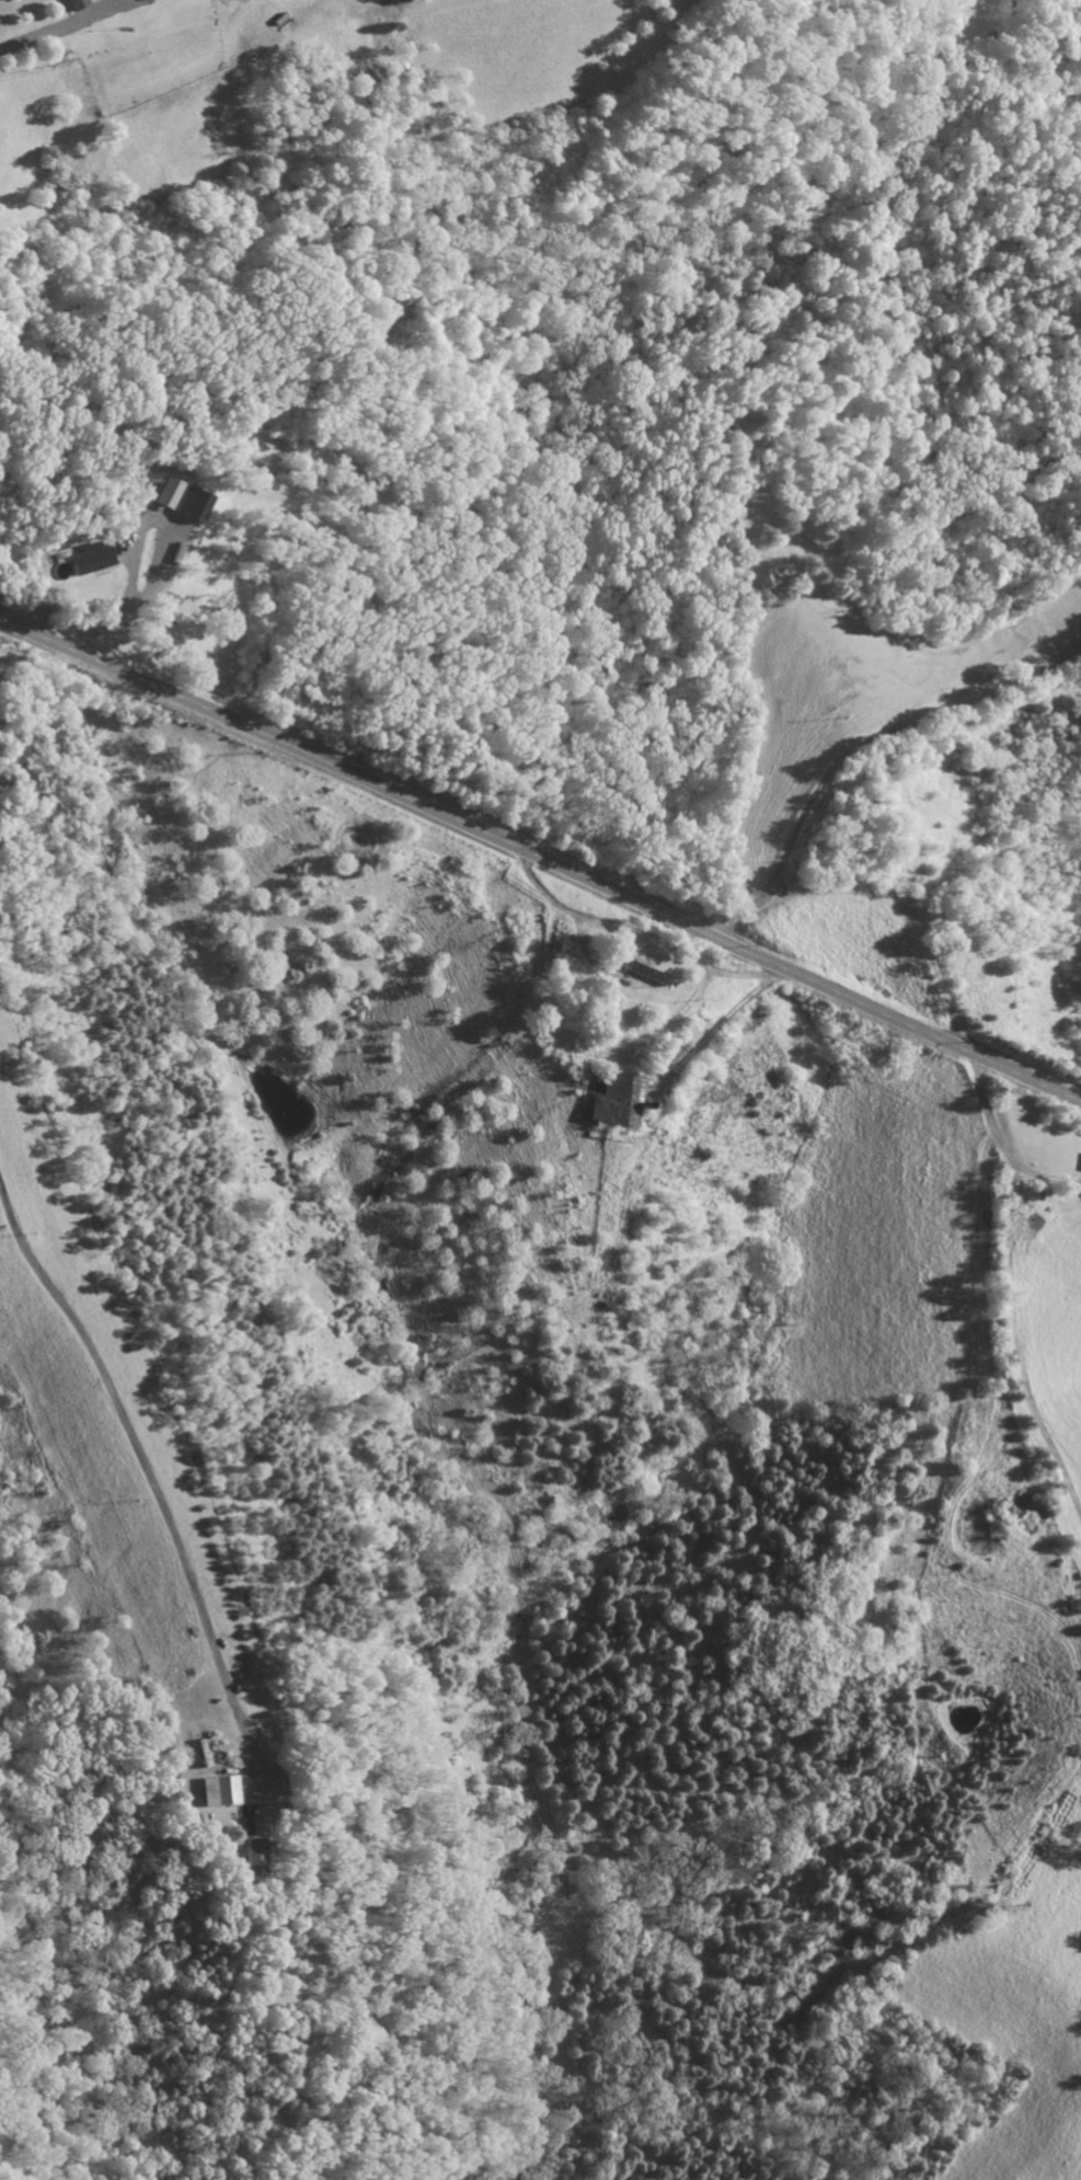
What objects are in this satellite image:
building: (79, 3)
road: (58, 25)
building: (169, 491)
building: (193, 503)
building: (93, 558)
road: (859, 745)
road: (541, 858)
building: (618, 1099)
building: (1080, 1169)
road: (1019, 1175)
road: (992, 1324)
road: (149, 1484)
building: (220, 1790)
building: (256, 1856)

